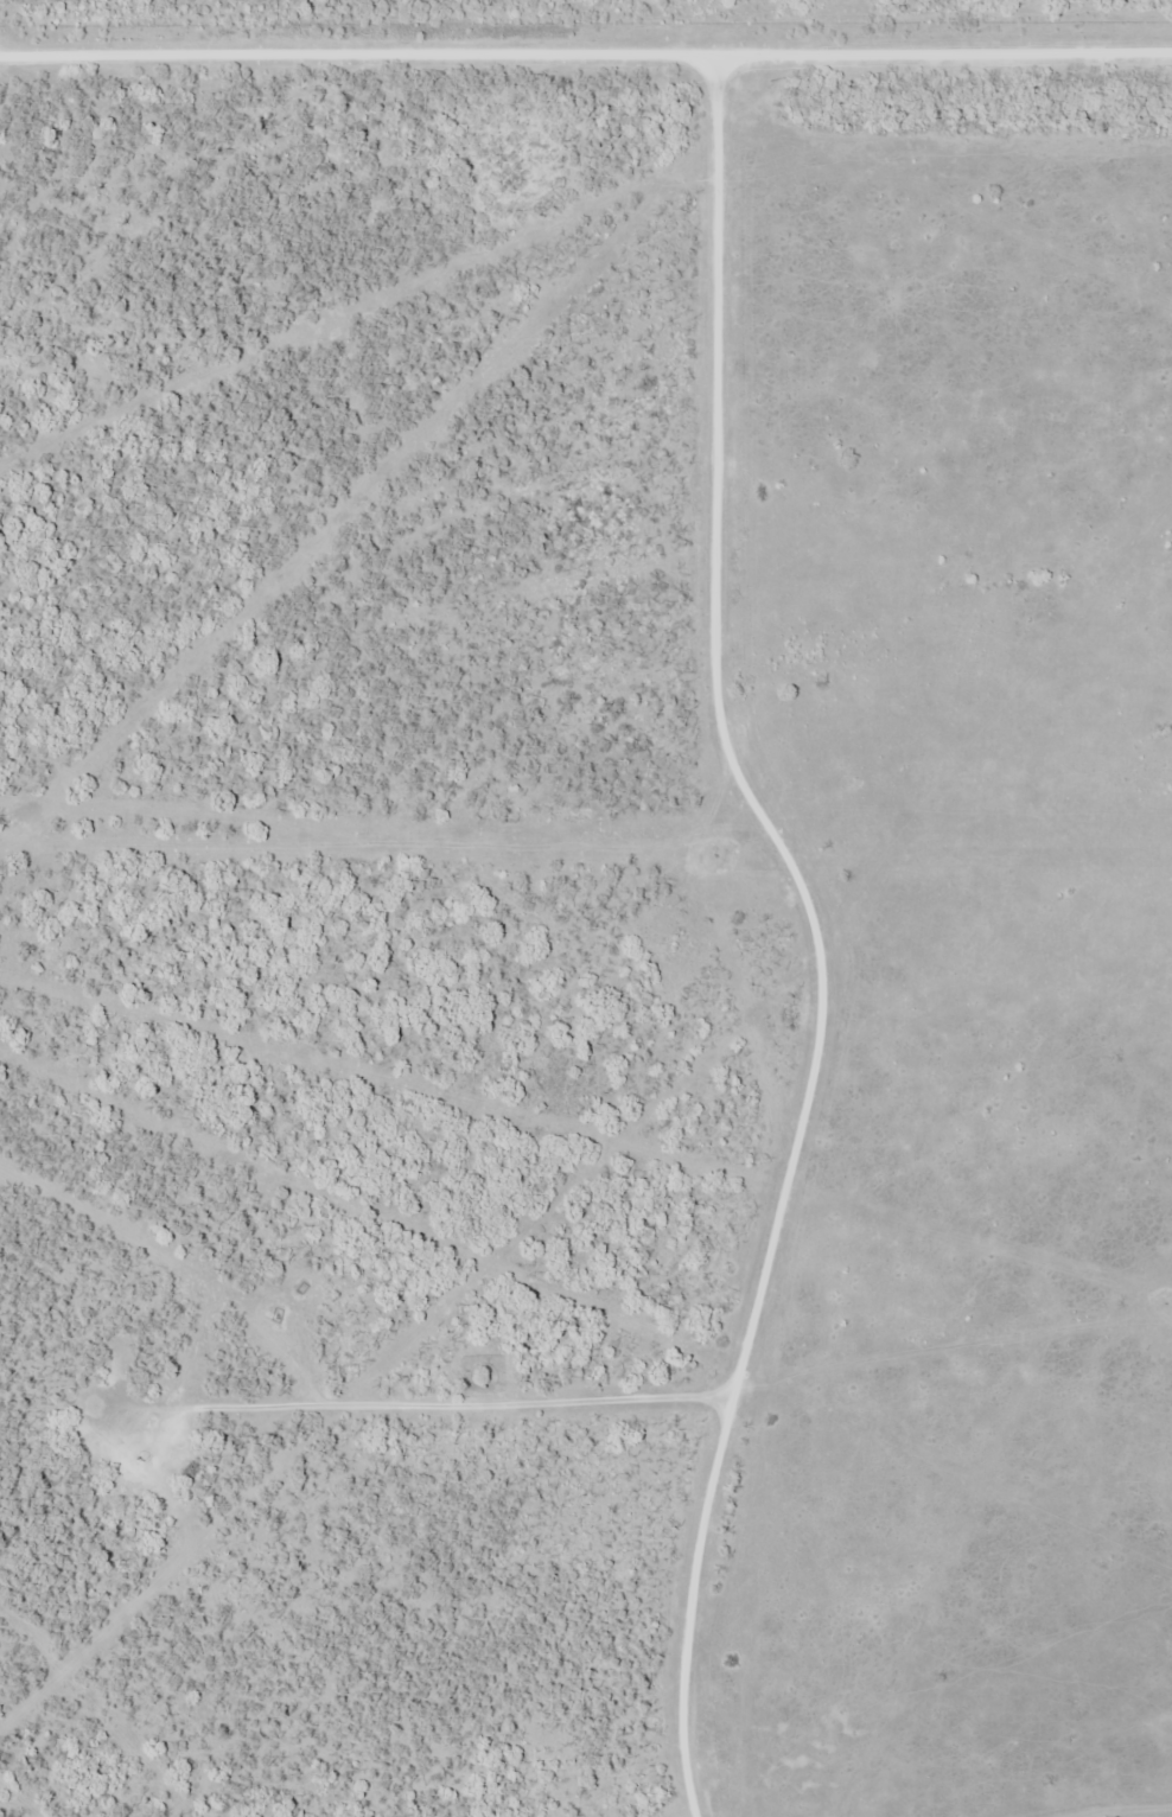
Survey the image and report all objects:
road: (585, 45)
road: (790, 932)

